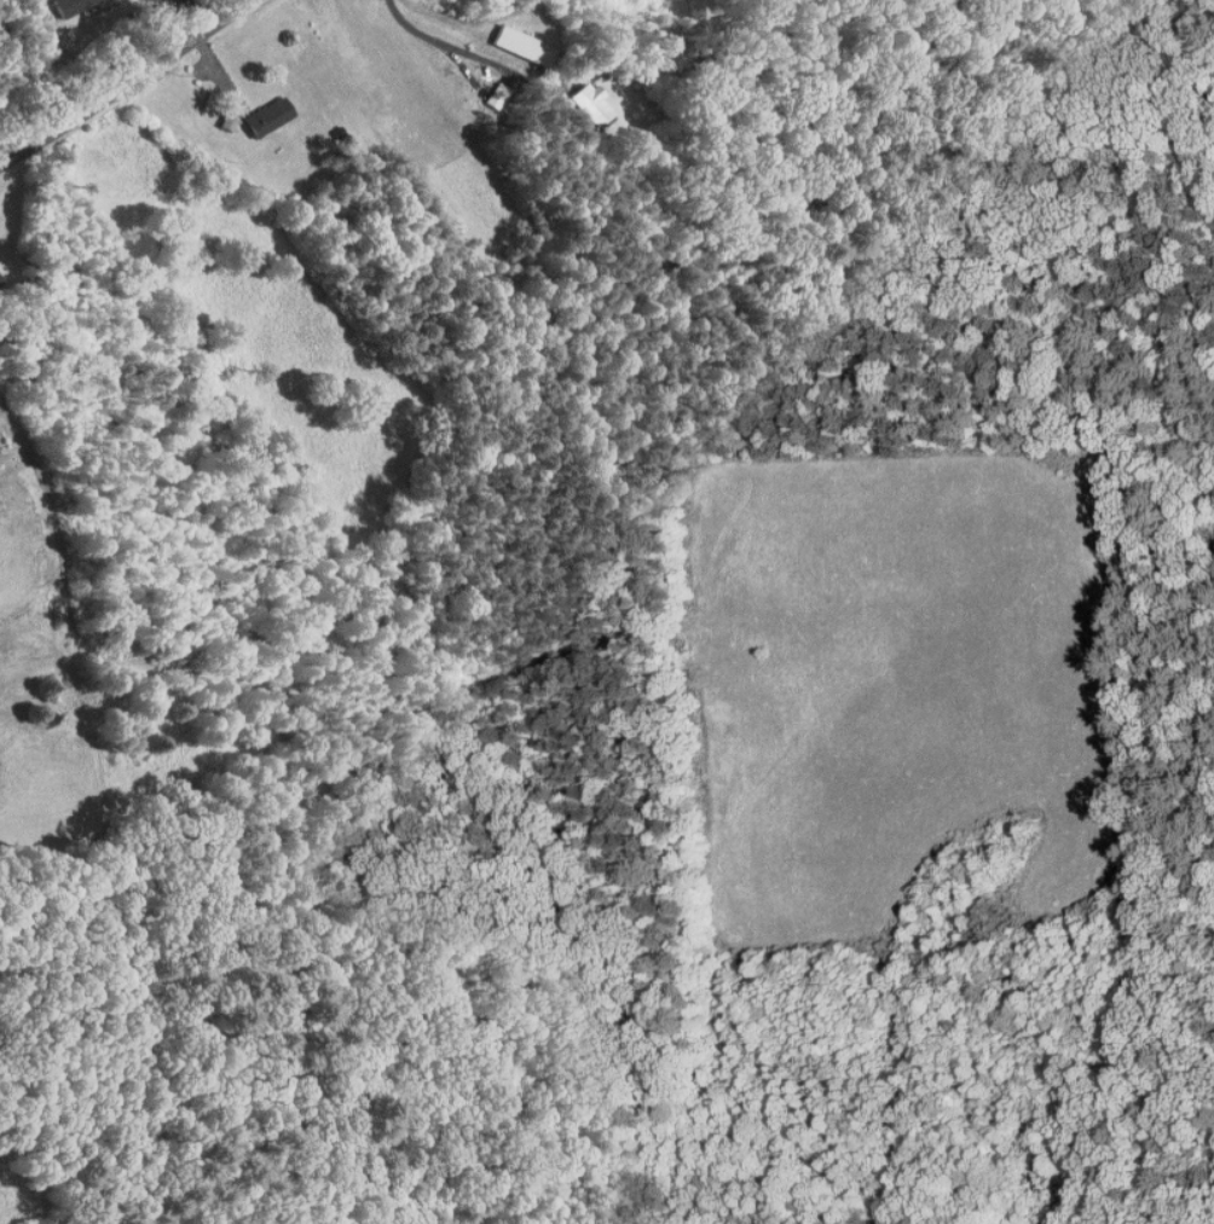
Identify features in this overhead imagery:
building: (58, 4)
building: (511, 39)
road: (452, 43)
road: (128, 89)
building: (579, 97)
building: (256, 110)

